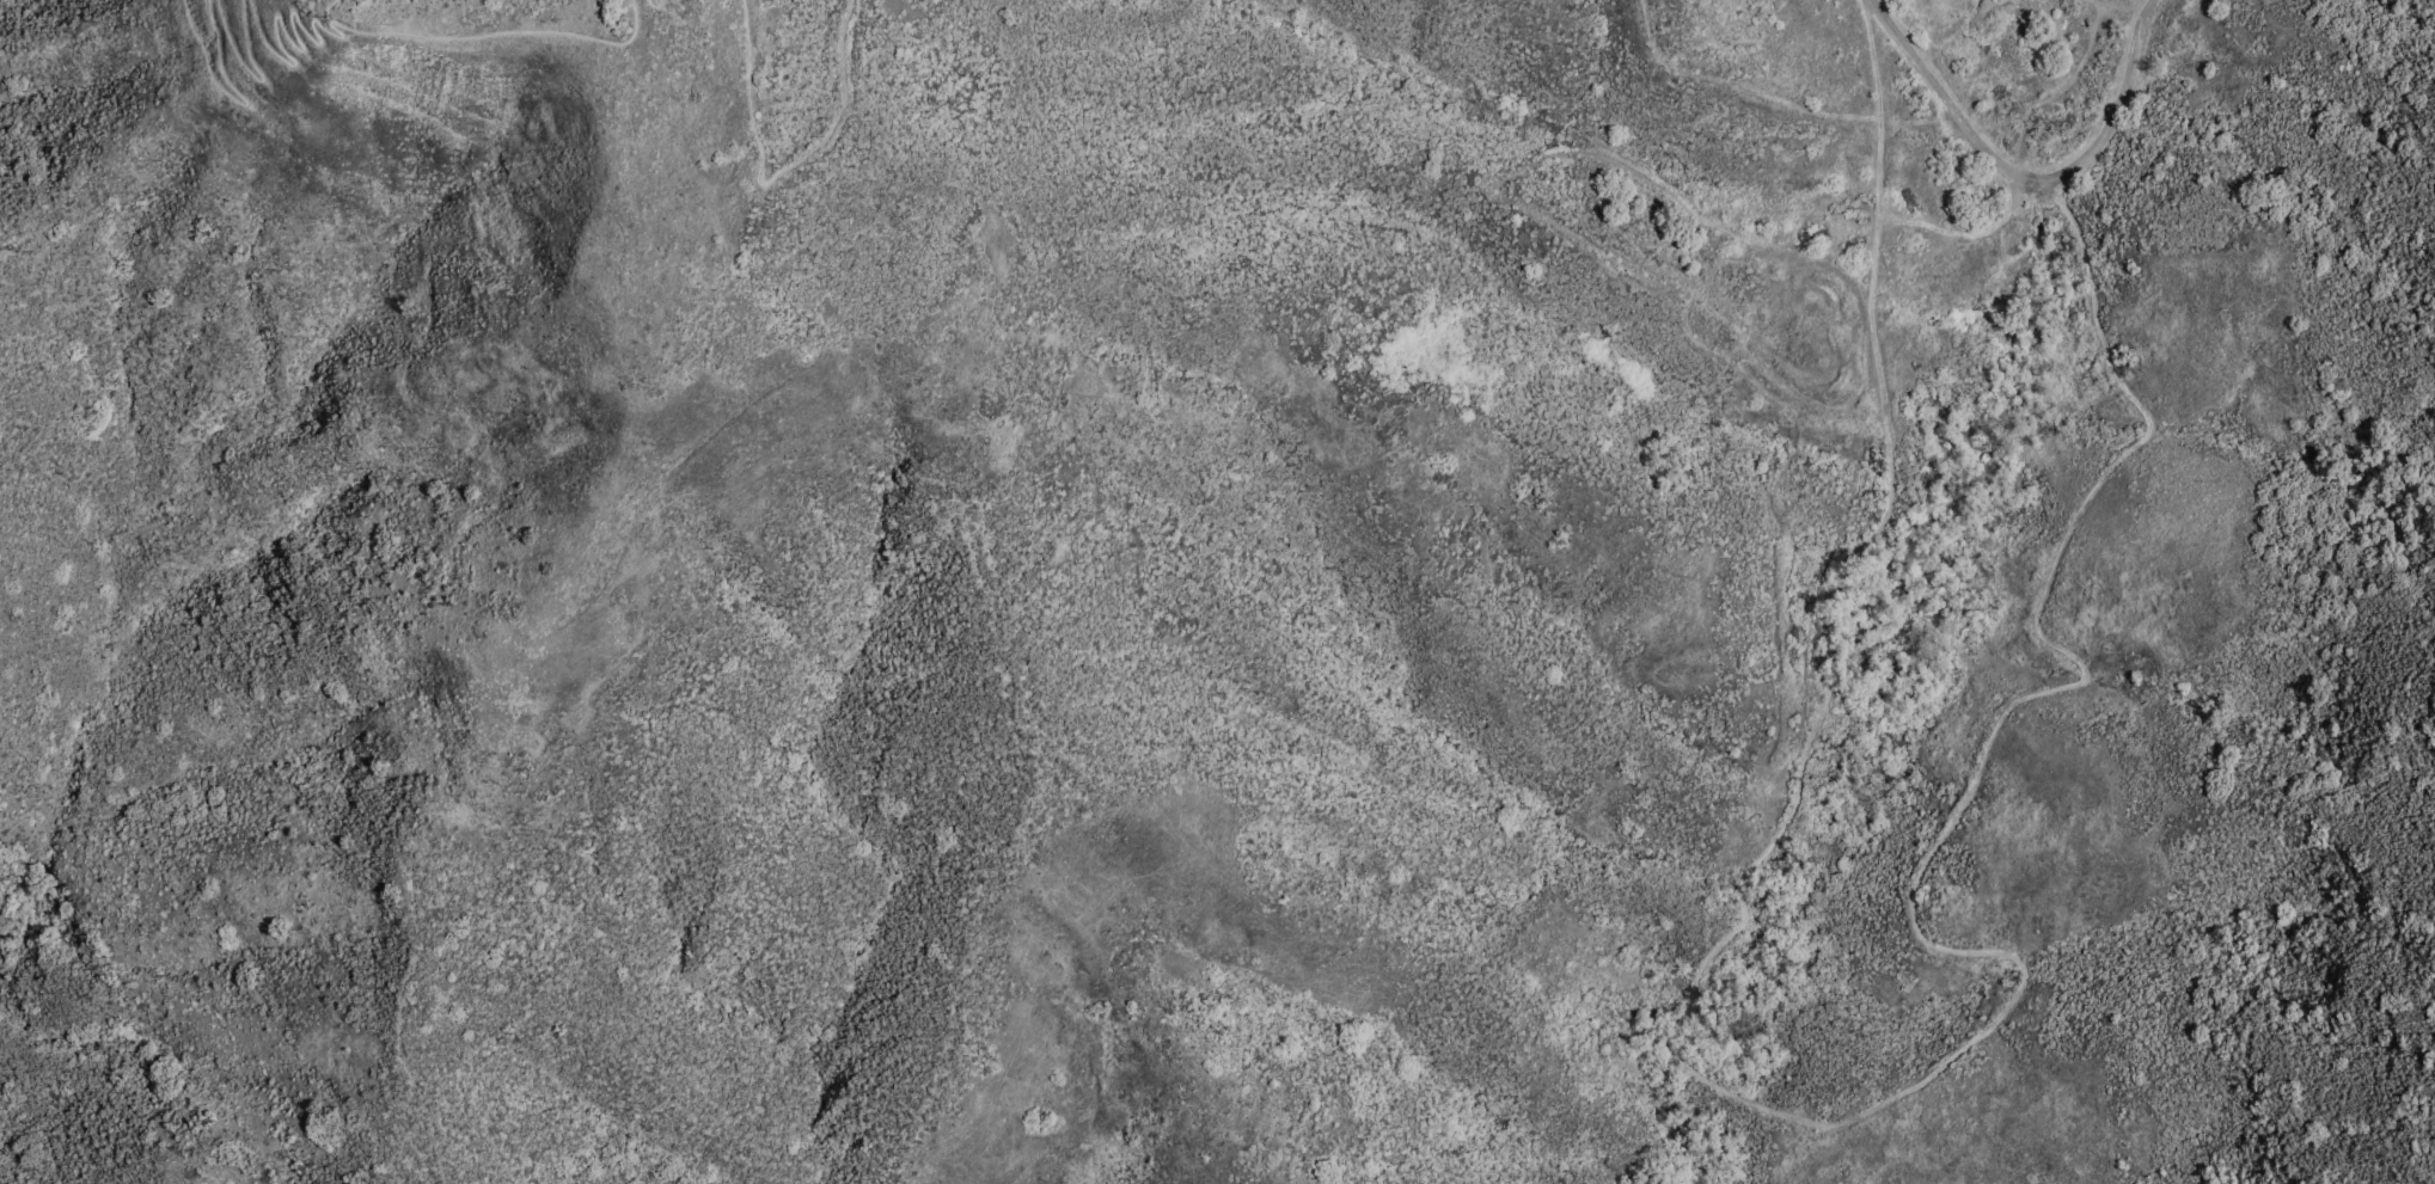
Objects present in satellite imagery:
road: (656, 7)
road: (332, 20)
road: (259, 78)
road: (746, 93)
road: (243, 104)
road: (840, 111)
road: (2025, 180)

